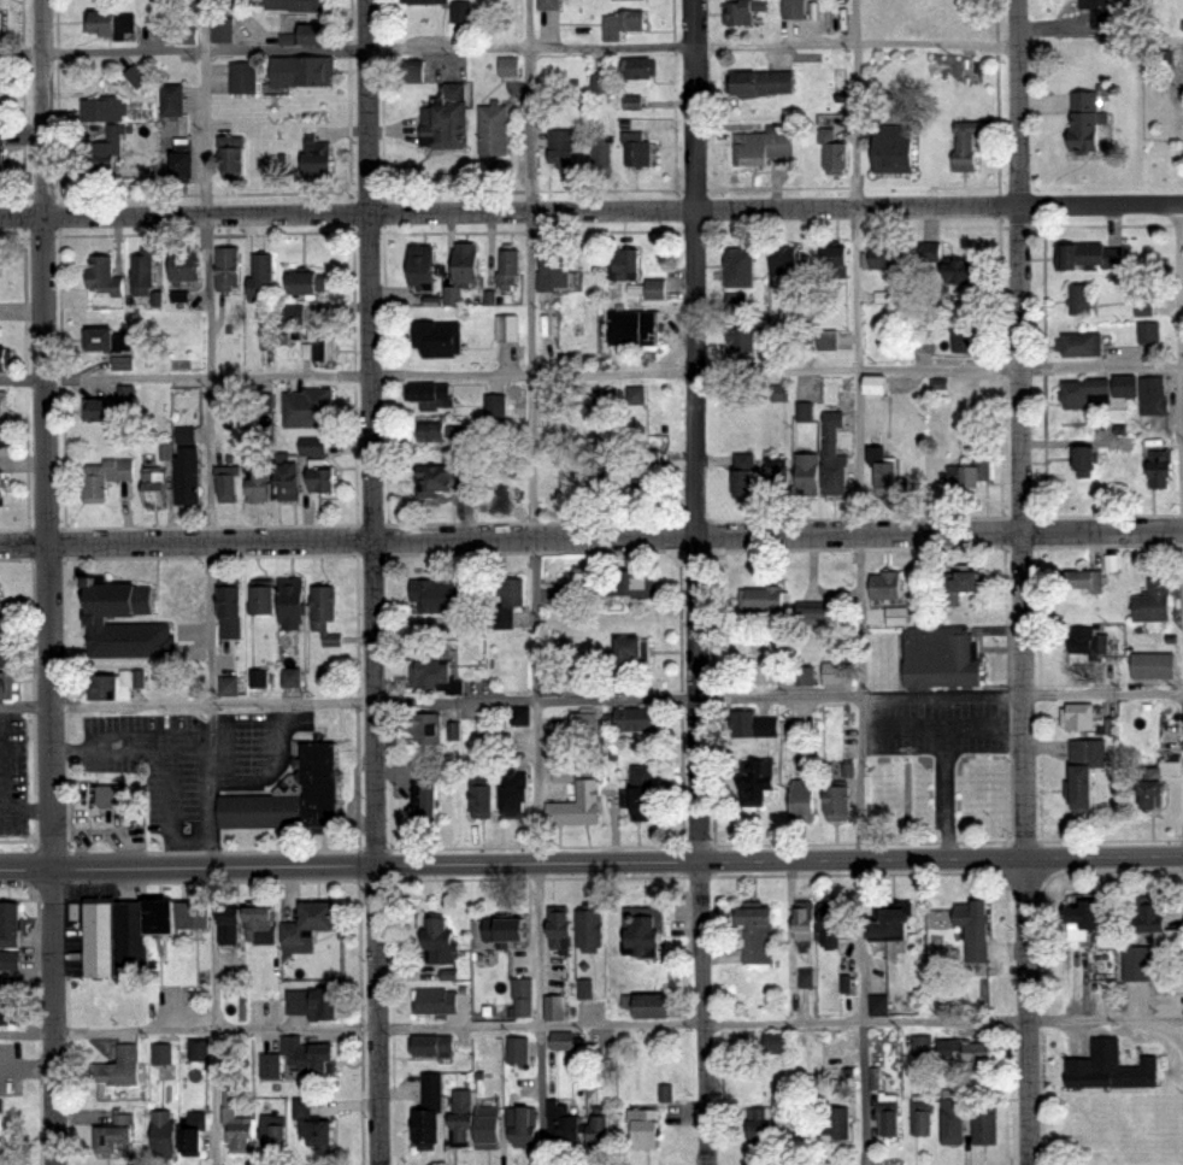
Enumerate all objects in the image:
building: (426, 1)
building: (549, 4)
building: (300, 5)
building: (793, 7)
building: (743, 10)
building: (463, 11)
building: (1093, 11)
building: (105, 23)
building: (625, 23)
building: (222, 28)
building: (293, 33)
building: (316, 34)
building: (183, 36)
road: (508, 49)
building: (510, 65)
building: (640, 67)
building: (304, 69)
building: (416, 69)
building: (243, 76)
building: (131, 77)
building: (760, 81)
building: (600, 82)
road: (1017, 90)
building: (172, 99)
building: (626, 104)
building: (104, 107)
building: (447, 122)
building: (1081, 122)
building: (496, 129)
building: (766, 142)
building: (563, 145)
building: (967, 146)
building: (636, 147)
building: (834, 147)
building: (895, 148)
building: (2, 151)
building: (606, 152)
building: (320, 155)
building: (104, 157)
building: (234, 158)
building: (184, 164)
road: (591, 210)
building: (925, 252)
building: (1087, 254)
building: (884, 257)
building: (779, 259)
building: (467, 260)
building: (836, 260)
building: (630, 264)
building: (1, 265)
building: (184, 265)
building: (424, 266)
building: (510, 266)
building: (741, 266)
building: (229, 267)
building: (965, 267)
building: (143, 270)
building: (555, 270)
building: (787, 272)
building: (107, 273)
building: (263, 276)
building: (310, 283)
road: (1181, 286)
building: (652, 289)
building: (1078, 298)
building: (732, 302)
building: (289, 313)
building: (508, 328)
building: (635, 328)
building: (1148, 333)
building: (439, 336)
building: (966, 337)
building: (107, 339)
building: (742, 339)
building: (824, 340)
building: (923, 340)
building: (1082, 345)
building: (323, 346)
road: (208, 352)
building: (5, 358)
road: (591, 375)
building: (872, 383)
building: (1124, 386)
building: (776, 392)
building: (1079, 392)
building: (434, 396)
building: (1150, 396)
building: (620, 399)
building: (4, 404)
building: (108, 404)
building: (308, 407)
building: (496, 414)
road: (695, 430)
road: (371, 431)
building: (443, 431)
road: (45, 434)
building: (1, 436)
building: (307, 446)
building: (835, 455)
building: (1082, 460)
building: (186, 466)
building: (884, 466)
building: (975, 469)
building: (1159, 469)
building: (590, 470)
building: (605, 471)
building: (746, 471)
building: (810, 473)
building: (107, 475)
building: (773, 475)
building: (226, 476)
building: (325, 476)
building: (255, 477)
building: (290, 477)
building: (436, 479)
building: (648, 481)
building: (4, 484)
building: (155, 488)
road: (1022, 519)
road: (590, 537)
building: (1084, 581)
road: (535, 582)
road: (860, 582)
building: (973, 582)
building: (632, 583)
building: (890, 587)
building: (516, 592)
building: (175, 594)
building: (119, 596)
building: (439, 596)
building: (572, 596)
building: (766, 598)
building: (264, 599)
building: (294, 601)
building: (1150, 601)
building: (325, 604)
building: (0, 607)
building: (231, 612)
building: (818, 614)
building: (131, 640)
building: (1084, 647)
building: (4, 655)
building: (943, 655)
building: (630, 661)
building: (770, 663)
building: (1150, 665)
building: (439, 671)
building: (835, 672)
building: (802, 675)
building: (288, 677)
building: (108, 684)
building: (4, 686)
building: (225, 686)
road: (1103, 694)
road: (943, 695)
road: (431, 704)
building: (523, 717)
building: (1081, 717)
building: (636, 719)
building: (585, 720)
building: (754, 725)
building: (487, 726)
parking lot: (937, 726)
building: (429, 728)
road: (942, 729)
road: (130, 745)
building: (1088, 753)
parking lot: (148, 767)
building: (560, 772)
parking lot: (14, 773)
building: (760, 779)
road: (212, 786)
building: (1078, 787)
building: (290, 790)
building: (1147, 792)
building: (645, 794)
road: (947, 794)
building: (111, 799)
building: (807, 799)
building: (841, 800)
building: (518, 801)
building: (425, 802)
building: (484, 802)
road: (22, 806)
road: (171, 806)
building: (577, 806)
building: (133, 826)
road: (591, 863)
building: (1081, 914)
building: (760, 917)
building: (254, 920)
building: (8, 922)
building: (183, 923)
building: (897, 923)
building: (563, 924)
building: (808, 925)
building: (838, 925)
building: (1154, 925)
building: (155, 926)
building: (226, 926)
building: (305, 928)
building: (591, 928)
building: (506, 930)
building: (977, 931)
building: (648, 934)
building: (430, 937)
building: (446, 942)
building: (96, 946)
building: (125, 946)
building: (6, 959)
building: (1136, 964)
building: (808, 978)
building: (522, 995)
building: (296, 1001)
building: (437, 1001)
building: (325, 1005)
building: (882, 1006)
building: (557, 1007)
building: (657, 1007)
road: (701, 1012)
road: (1028, 1012)
building: (5, 1013)
road: (377, 1014)
road: (213, 1016)
road: (53, 1017)
road: (590, 1025)
building: (558, 1040)
building: (778, 1045)
building: (923, 1045)
building: (431, 1046)
building: (953, 1048)
building: (519, 1049)
building: (198, 1052)
building: (161, 1053)
building: (982, 1053)
building: (284, 1058)
building: (320, 1059)
building: (1107, 1067)
building: (119, 1069)
building: (464, 1116)
building: (430, 1117)
building: (891, 1117)
building: (922, 1117)
building: (953, 1118)
building: (563, 1120)
building: (237, 1125)
building: (523, 1125)
building: (840, 1125)
building: (987, 1125)
building: (763, 1126)
building: (317, 1128)
building: (492, 1128)
building: (647, 1128)
building: (275, 1129)
building: (116, 1134)
building: (602, 1134)
building: (165, 1135)
building: (193, 1141)

